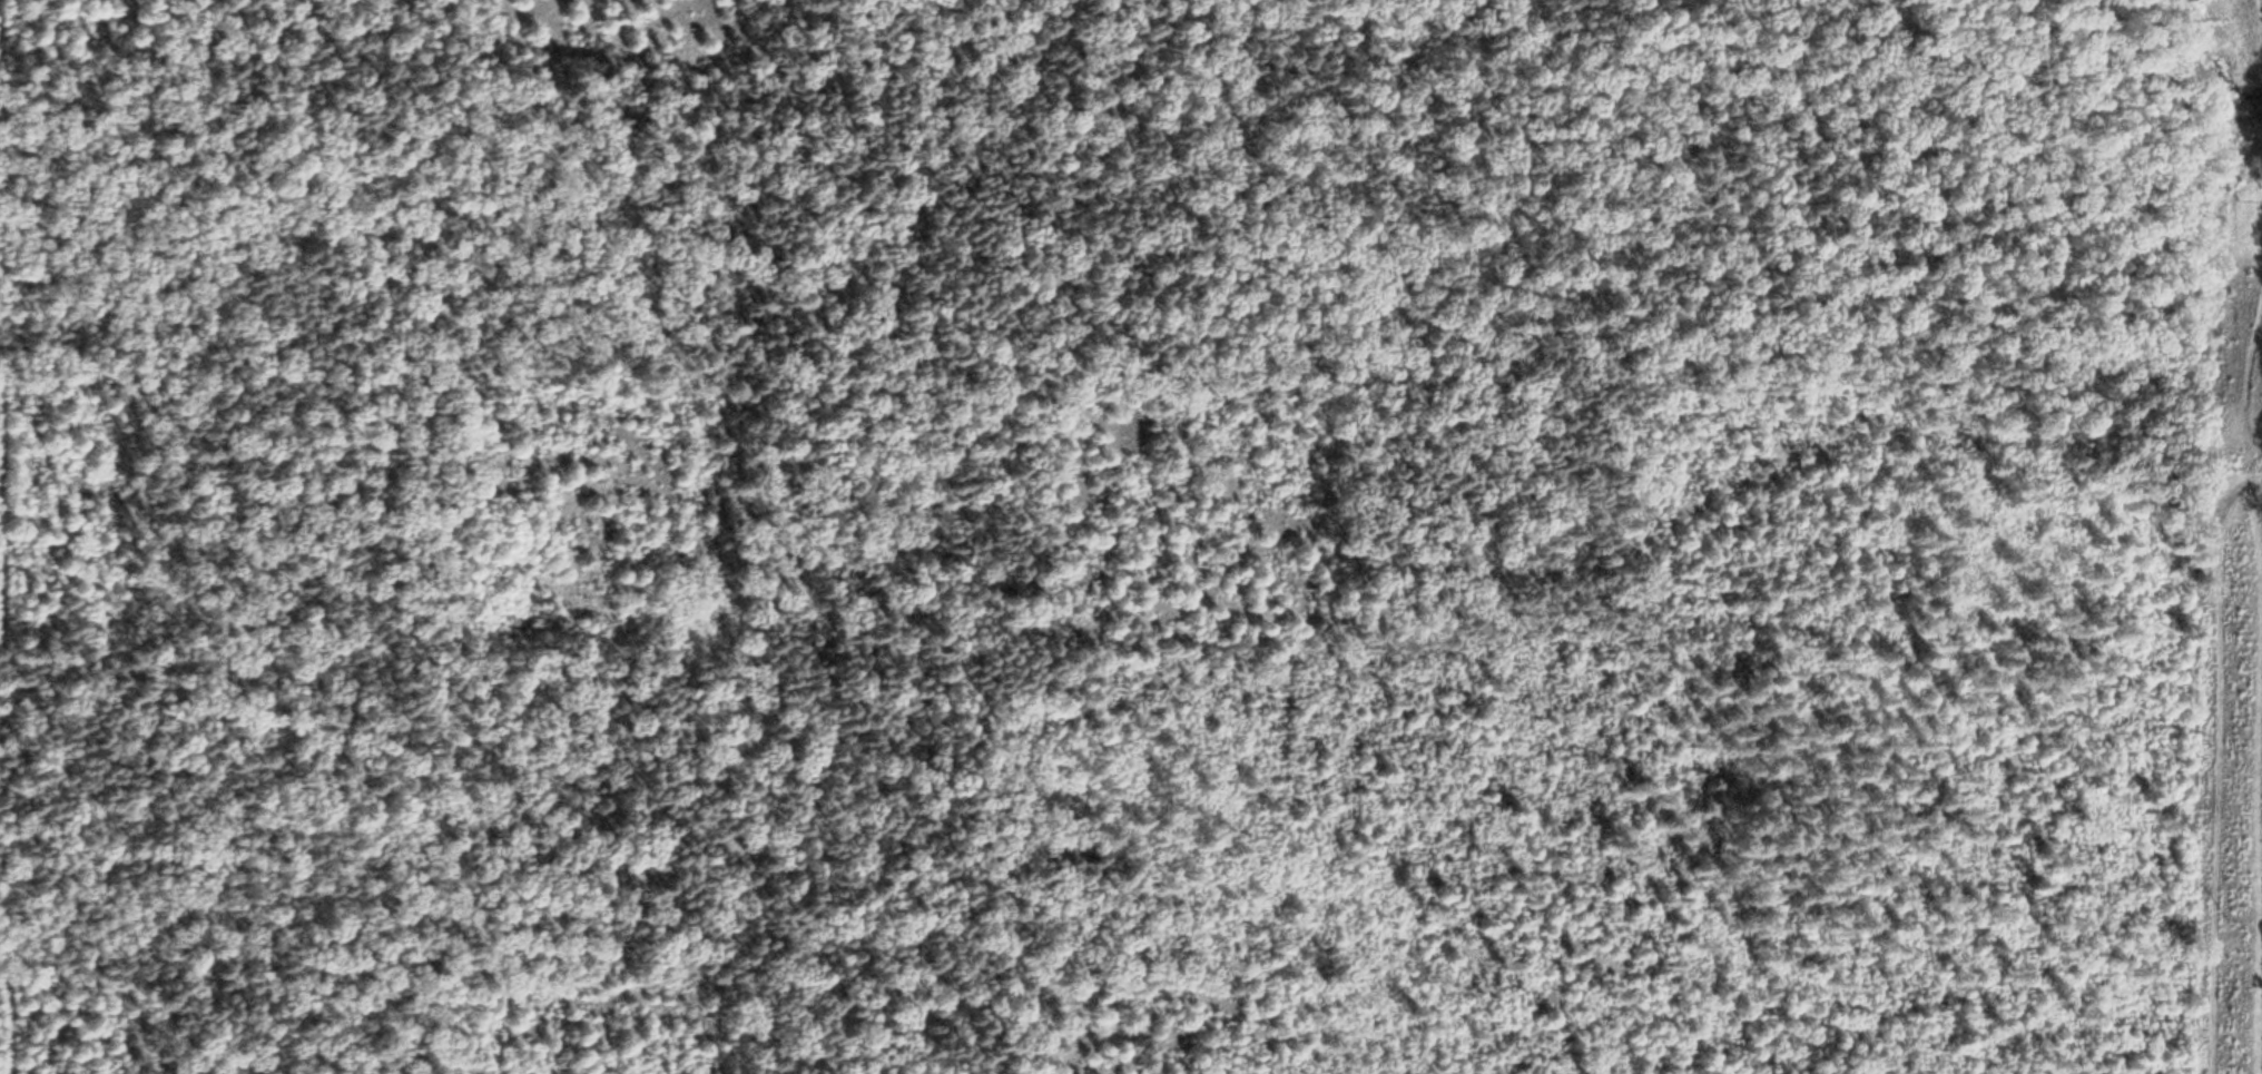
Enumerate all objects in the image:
road: (966, 538)

